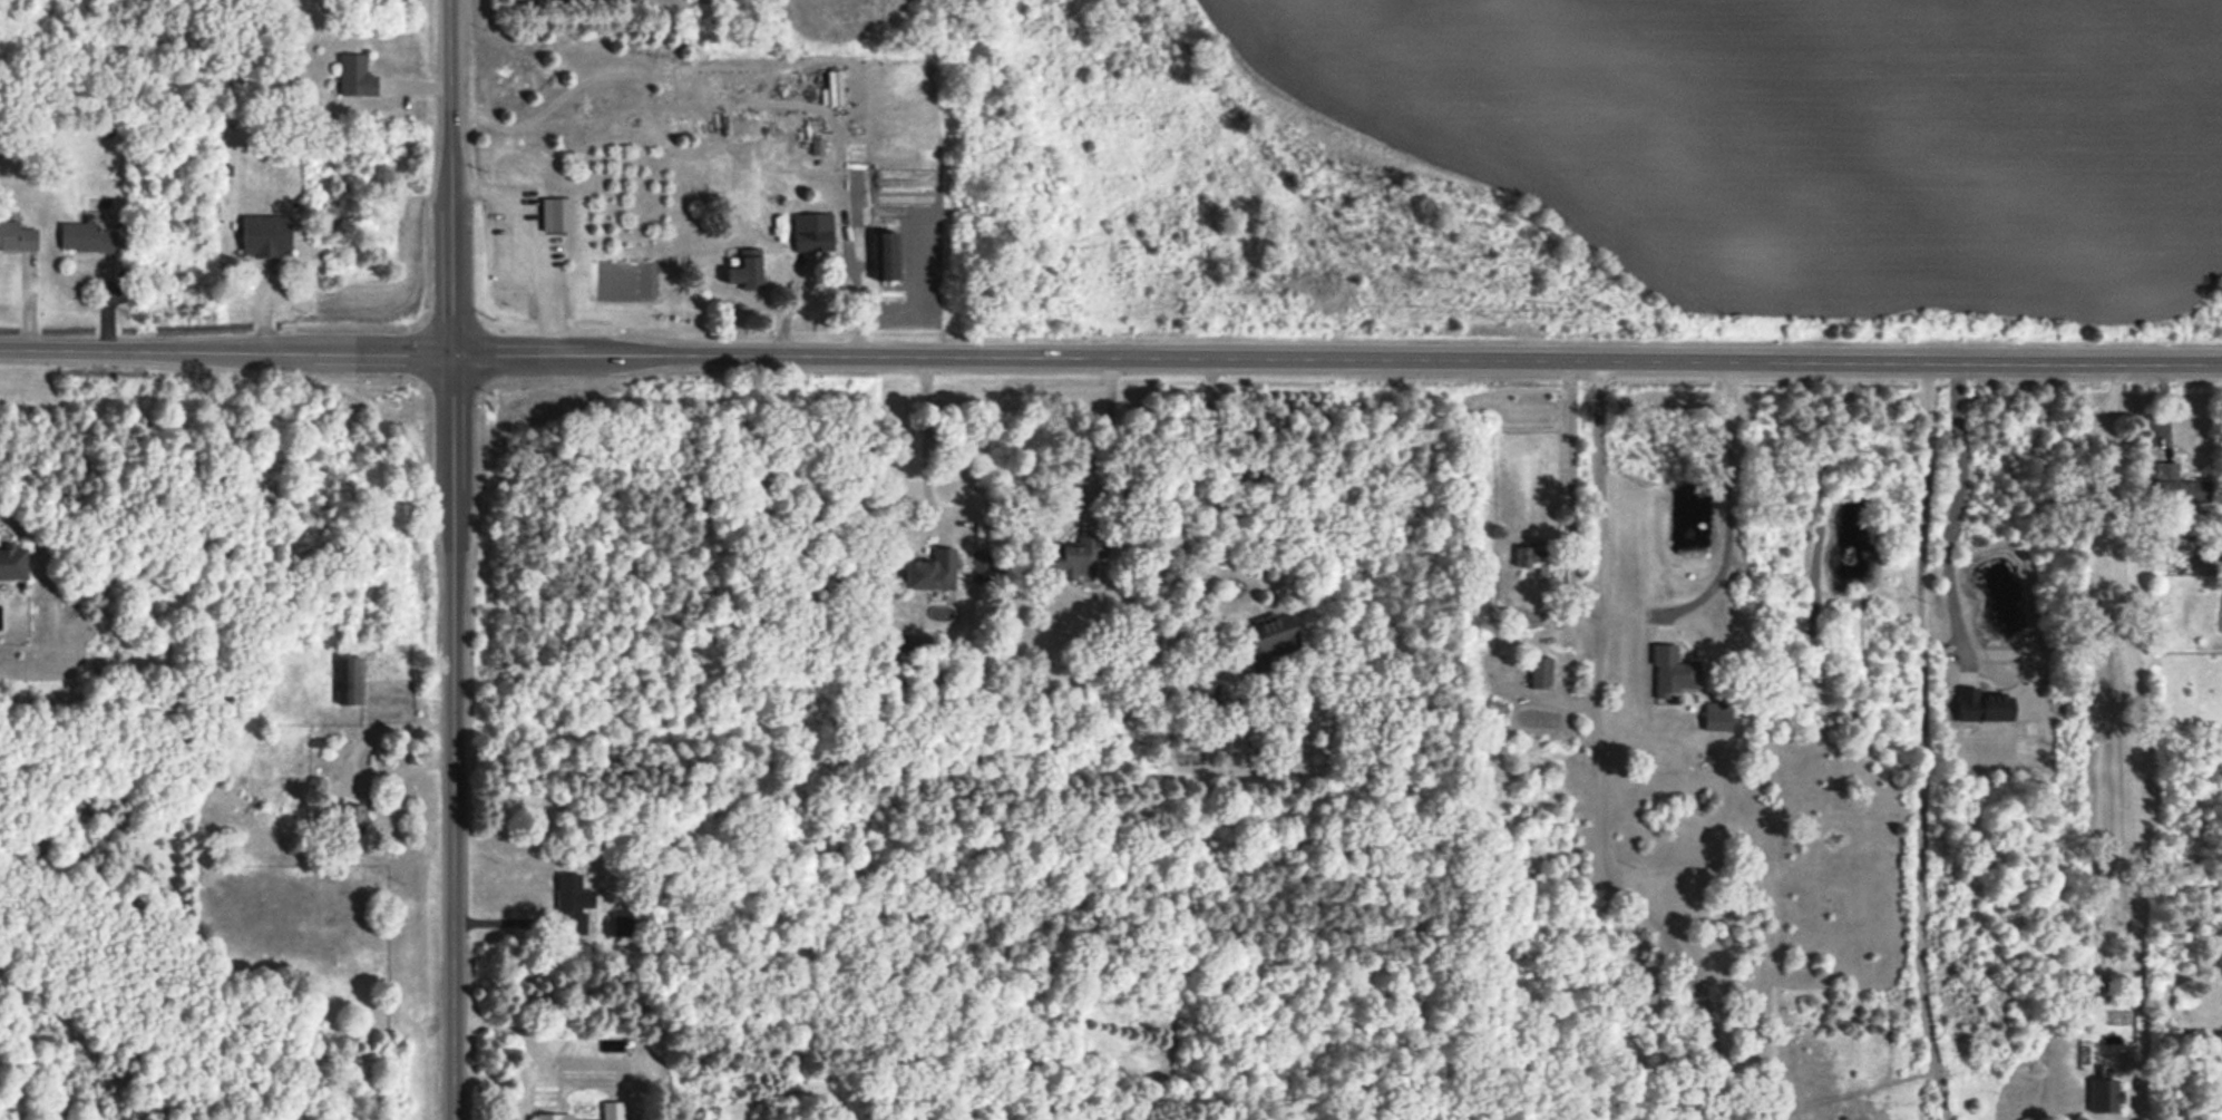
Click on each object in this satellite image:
building: (355, 76)
building: (817, 146)
building: (556, 214)
building: (812, 232)
building: (17, 235)
building: (265, 235)
building: (87, 237)
building: (885, 255)
road: (825, 260)
building: (745, 270)
road: (1110, 360)
road: (1099, 440)
road: (1567, 464)
road: (1211, 489)
building: (2192, 490)
road: (928, 504)
road: (1728, 508)
road: (1949, 516)
building: (1076, 556)
road: (455, 559)
building: (12, 563)
building: (980, 566)
building: (932, 571)
building: (1269, 639)
building: (1672, 671)
building: (1540, 672)
building: (349, 680)
building: (1203, 693)
building: (1982, 705)
building: (1716, 715)
road: (2144, 737)
road: (1921, 743)
road: (1598, 759)
building: (353, 817)
building: (572, 903)
building: (626, 925)
building: (2104, 1094)
road: (1680, 1098)
building: (612, 1110)
building: (550, 1116)

